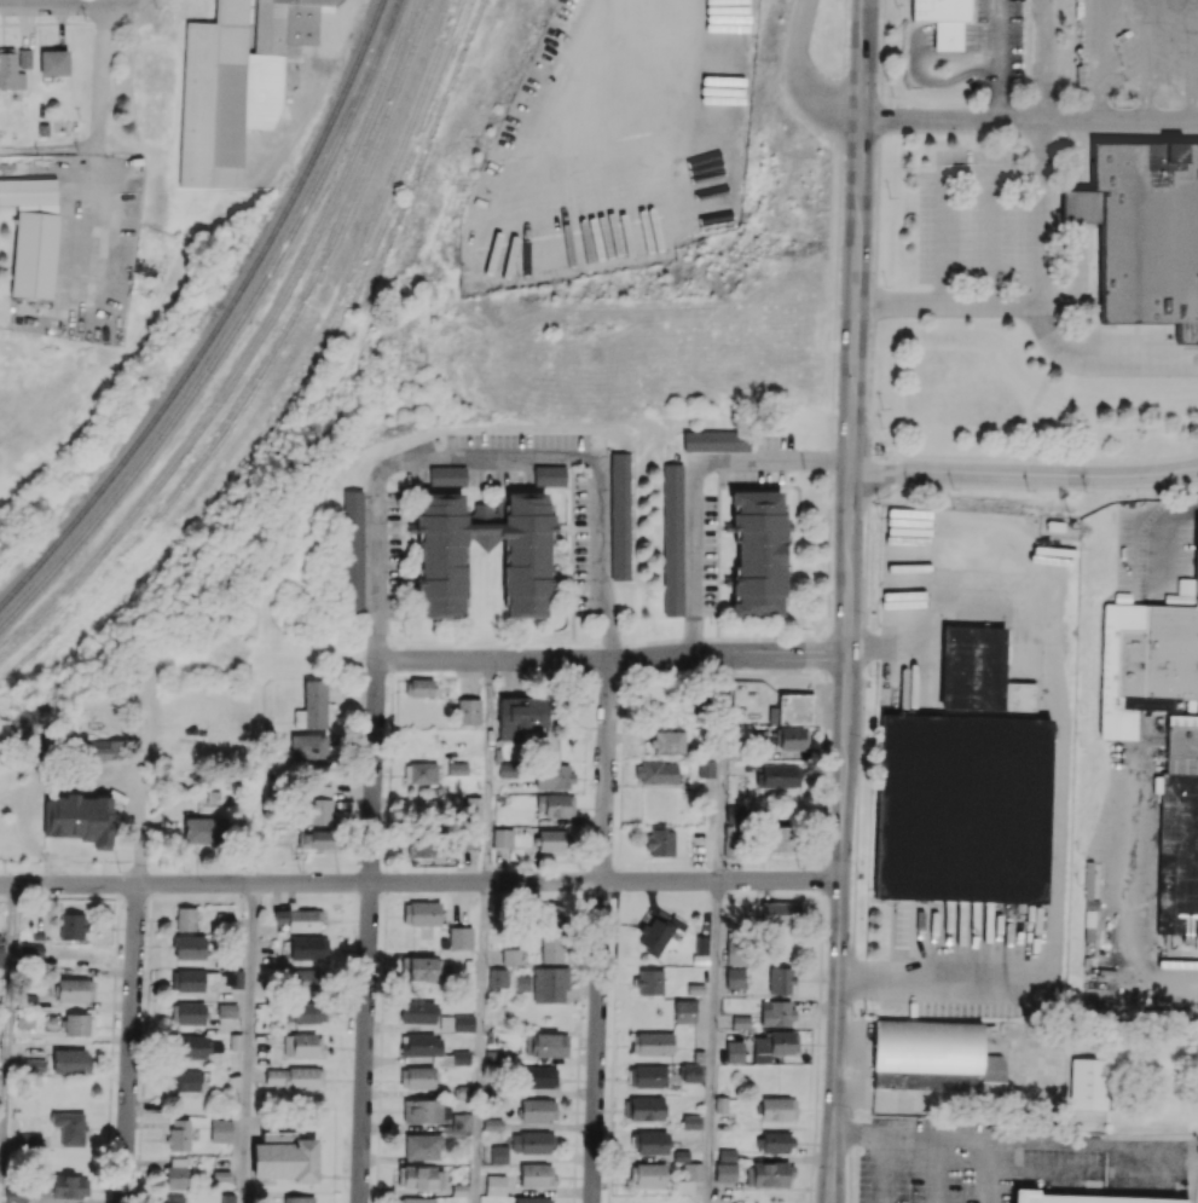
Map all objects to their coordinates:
road: (66, 5)
building: (942, 19)
road: (597, 56)
building: (24, 58)
road: (997, 59)
road: (1043, 59)
road: (1096, 59)
building: (53, 62)
building: (10, 71)
road: (102, 75)
road: (793, 80)
building: (236, 82)
road: (1029, 118)
road: (51, 149)
road: (947, 190)
building: (1142, 231)
building: (33, 235)
road: (992, 238)
railway: (353, 294)
road: (1037, 297)
railway: (221, 322)
railway: (231, 334)
railway: (247, 354)
road: (1099, 359)
railway: (261, 370)
railway: (294, 384)
railway: (311, 410)
building: (716, 440)
road: (487, 452)
road: (1025, 473)
building: (447, 474)
building: (549, 475)
road: (693, 484)
building: (620, 515)
building: (671, 539)
road: (1154, 540)
building: (352, 550)
building: (758, 554)
building: (522, 563)
road: (849, 601)
road: (614, 660)
building: (1145, 664)
building: (971, 667)
building: (419, 687)
building: (1023, 696)
building: (312, 705)
building: (792, 709)
building: (468, 711)
building: (521, 716)
building: (793, 738)
building: (667, 741)
building: (307, 747)
building: (97, 748)
building: (457, 768)
building: (706, 768)
building: (508, 769)
road: (722, 770)
road: (488, 771)
building: (656, 771)
building: (421, 773)
building: (779, 775)
building: (552, 776)
building: (322, 791)
road: (1057, 791)
road: (140, 800)
building: (555, 804)
building: (471, 809)
building: (319, 811)
building: (734, 812)
building: (1179, 822)
building: (204, 829)
building: (103, 831)
building: (314, 838)
building: (502, 838)
building: (780, 838)
building: (551, 840)
building: (659, 841)
building: (419, 845)
road: (419, 881)
building: (421, 913)
building: (780, 913)
building: (551, 916)
building: (185, 919)
building: (297, 919)
building: (73, 926)
road: (1130, 927)
road: (601, 931)
building: (658, 933)
road: (367, 935)
building: (461, 937)
building: (189, 947)
building: (308, 948)
building: (552, 949)
building: (700, 949)
building: (734, 950)
building: (29, 952)
building: (1, 956)
building: (510, 956)
building: (419, 968)
building: (497, 977)
building: (735, 977)
building: (232, 978)
building: (193, 981)
building: (306, 981)
building: (780, 981)
building: (522, 982)
building: (649, 982)
building: (550, 984)
building: (75, 989)
building: (226, 1010)
building: (418, 1011)
building: (684, 1011)
building: (305, 1012)
building: (187, 1013)
building: (777, 1013)
building: (741, 1022)
building: (456, 1023)
building: (77, 1024)
road: (713, 1041)
road: (248, 1042)
road: (481, 1042)
road: (7, 1043)
road: (131, 1043)
building: (652, 1043)
building: (546, 1045)
building: (774, 1045)
building: (195, 1046)
building: (430, 1049)
building: (734, 1051)
building: (933, 1057)
building: (70, 1060)
building: (690, 1072)
building: (539, 1076)
building: (647, 1076)
building: (295, 1077)
building: (417, 1077)
building: (187, 1081)
building: (1088, 1083)
building: (777, 1107)
building: (538, 1109)
building: (643, 1109)
building: (421, 1110)
building: (691, 1122)
building: (461, 1123)
building: (492, 1123)
building: (70, 1127)
building: (220, 1129)
building: (178, 1134)
building: (532, 1141)
building: (774, 1141)
road: (934, 1141)
building: (422, 1146)
building: (498, 1155)
building: (727, 1155)
building: (284, 1156)
road: (1040, 1168)
road: (880, 1170)
building: (691, 1172)
building: (725, 1172)
building: (175, 1173)
building: (648, 1174)
building: (768, 1174)
building: (536, 1175)
building: (419, 1178)
building: (496, 1185)
building: (69, 1186)
building: (15, 1193)
building: (173, 1198)
building: (227, 1198)
building: (1082, 1198)
building: (299, 1199)
building: (415, 1199)
building: (532, 1199)

